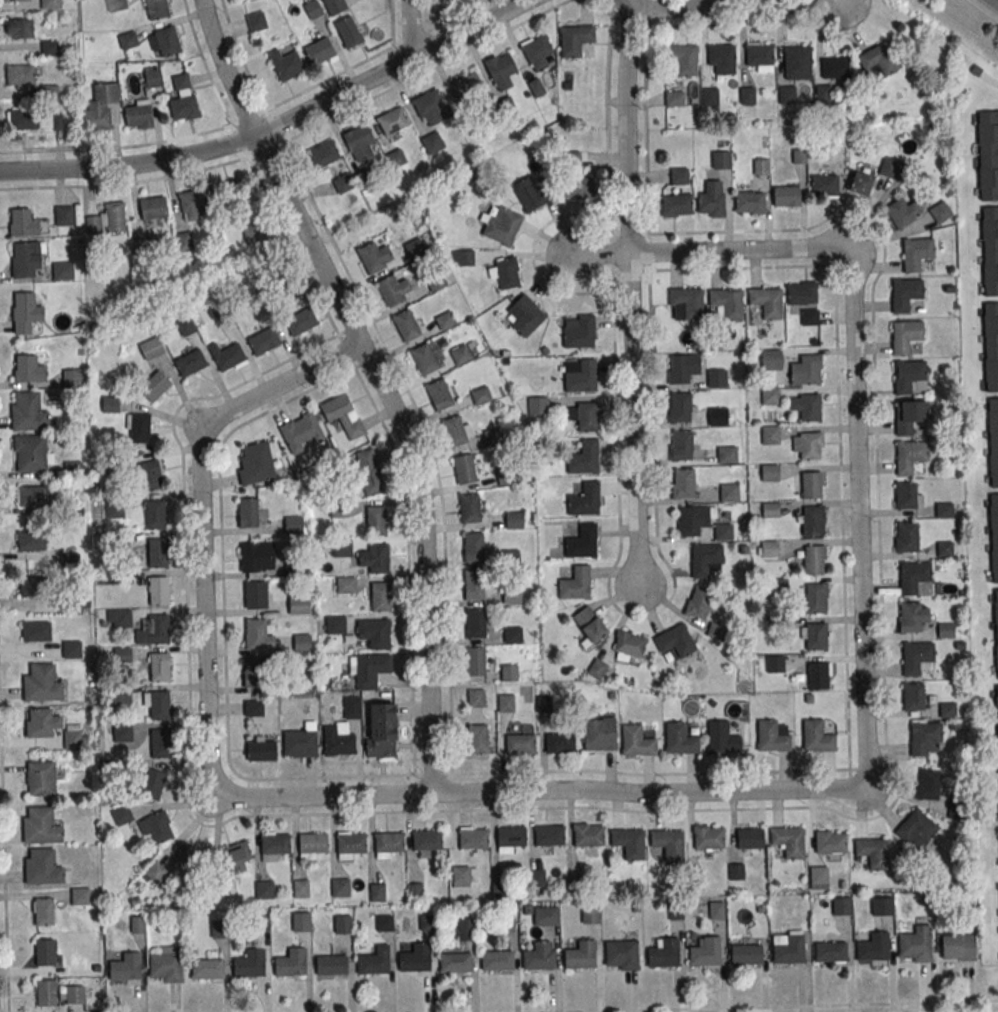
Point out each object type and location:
building: (16, 0)
road: (995, 1)
building: (50, 4)
road: (617, 4)
building: (116, 5)
building: (334, 6)
building: (157, 9)
building: (313, 9)
road: (732, 9)
building: (256, 21)
building: (18, 28)
road: (406, 29)
building: (348, 32)
building: (574, 39)
building: (128, 40)
building: (164, 42)
building: (49, 48)
building: (319, 51)
building: (536, 51)
building: (759, 57)
building: (720, 59)
building: (879, 59)
building: (681, 60)
building: (797, 61)
building: (286, 64)
building: (834, 67)
building: (500, 70)
building: (21, 75)
building: (152, 77)
building: (467, 86)
building: (50, 92)
building: (786, 94)
building: (823, 94)
building: (747, 95)
building: (709, 96)
building: (674, 98)
building: (183, 99)
building: (100, 107)
building: (430, 107)
building: (505, 107)
building: (139, 115)
building: (33, 120)
building: (392, 121)
road: (274, 127)
building: (360, 142)
building: (432, 142)
building: (323, 153)
building: (836, 155)
building: (987, 155)
building: (395, 157)
building: (721, 160)
building: (760, 165)
building: (889, 167)
building: (575, 179)
building: (343, 183)
building: (860, 183)
building: (824, 185)
building: (226, 192)
building: (531, 192)
building: (786, 196)
building: (711, 199)
building: (750, 202)
building: (194, 203)
building: (677, 205)
building: (153, 208)
building: (902, 212)
building: (940, 212)
building: (64, 216)
building: (107, 219)
building: (23, 223)
building: (501, 225)
building: (252, 232)
building: (184, 241)
building: (141, 247)
road: (738, 250)
building: (989, 250)
road: (596, 254)
building: (916, 254)
building: (373, 256)
building: (26, 258)
building: (462, 258)
building: (63, 271)
building: (505, 273)
building: (437, 284)
building: (394, 290)
road: (631, 293)
building: (802, 293)
building: (905, 293)
building: (767, 302)
building: (727, 303)
building: (685, 304)
building: (25, 312)
building: (523, 315)
building: (809, 316)
building: (444, 320)
building: (301, 322)
building: (406, 325)
building: (185, 326)
building: (578, 331)
building: (906, 335)
building: (263, 340)
building: (990, 346)
building: (151, 348)
building: (460, 354)
building: (227, 356)
building: (423, 359)
building: (771, 359)
building: (190, 362)
building: (30, 367)
building: (683, 367)
building: (806, 370)
building: (579, 375)
building: (71, 377)
building: (716, 378)
building: (911, 378)
road: (380, 379)
building: (154, 385)
building: (439, 394)
building: (480, 395)
building: (770, 396)
building: (110, 404)
building: (537, 405)
building: (806, 406)
building: (680, 407)
building: (28, 412)
building: (343, 415)
building: (586, 415)
building: (717, 416)
building: (909, 416)
building: (139, 428)
building: (302, 431)
building: (456, 431)
building: (770, 435)
building: (493, 436)
building: (993, 440)
building: (680, 445)
building: (807, 446)
building: (31, 454)
building: (726, 454)
building: (910, 456)
building: (583, 457)
building: (256, 463)
building: (72, 469)
building: (465, 469)
building: (369, 472)
building: (769, 472)
building: (150, 475)
building: (682, 483)
building: (810, 484)
building: (729, 492)
building: (906, 495)
building: (31, 496)
building: (584, 499)
building: (469, 507)
building: (114, 510)
building: (770, 510)
building: (248, 512)
building: (155, 514)
road: (860, 518)
building: (693, 519)
road: (202, 520)
building: (375, 520)
building: (810, 520)
building: (293, 524)
building: (723, 531)
building: (994, 535)
building: (906, 536)
building: (31, 541)
building: (581, 541)
building: (475, 547)
building: (342, 548)
building: (767, 548)
building: (944, 548)
building: (158, 552)
building: (375, 557)
building: (257, 558)
building: (705, 559)
building: (814, 559)
building: (915, 578)
building: (573, 581)
building: (346, 584)
building: (474, 584)
building: (35, 587)
building: (158, 590)
building: (255, 594)
building: (380, 596)
building: (512, 596)
building: (815, 597)
building: (698, 602)
building: (74, 603)
building: (299, 605)
building: (913, 616)
building: (119, 618)
building: (475, 623)
building: (335, 624)
building: (589, 626)
building: (996, 627)
building: (153, 629)
building: (715, 630)
building: (945, 630)
building: (37, 631)
building: (374, 632)
building: (258, 634)
building: (512, 634)
building: (813, 636)
building: (675, 641)
building: (302, 643)
building: (628, 646)
building: (72, 649)
building: (918, 658)
building: (475, 660)
building: (774, 663)
building: (159, 666)
building: (596, 668)
building: (369, 669)
building: (253, 673)
building: (509, 673)
building: (818, 676)
building: (42, 683)
building: (913, 696)
building: (476, 697)
building: (505, 702)
building: (542, 703)
building: (253, 707)
building: (352, 707)
building: (946, 709)
building: (997, 714)
building: (40, 722)
building: (382, 731)
building: (122, 732)
building: (600, 735)
building: (76, 737)
building: (478, 739)
building: (520, 739)
building: (722, 739)
building: (772, 739)
building: (818, 739)
building: (927, 739)
building: (338, 740)
building: (301, 741)
building: (680, 741)
building: (560, 742)
building: (636, 742)
building: (160, 743)
building: (261, 749)
building: (42, 778)
building: (152, 784)
building: (928, 784)
road: (541, 790)
building: (122, 815)
building: (41, 825)
building: (156, 826)
building: (588, 834)
building: (549, 835)
building: (920, 835)
building: (510, 836)
building: (473, 838)
building: (708, 838)
building: (749, 838)
building: (788, 841)
building: (426, 842)
building: (629, 842)
building: (669, 843)
building: (389, 844)
building: (831, 844)
building: (313, 845)
building: (350, 845)
building: (274, 846)
building: (871, 854)
building: (190, 855)
building: (235, 857)
building: (42, 867)
building: (155, 871)
building: (464, 876)
building: (818, 877)
building: (538, 878)
building: (340, 887)
building: (301, 888)
building: (264, 889)
building: (415, 891)
building: (377, 892)
building: (80, 895)
building: (841, 906)
building: (882, 908)
building: (716, 910)
building: (43, 911)
building: (590, 912)
building: (544, 915)
building: (300, 921)
building: (384, 922)
building: (425, 922)
building: (342, 924)
building: (218, 928)
building: (466, 929)
building: (915, 943)
building: (873, 947)
building: (958, 947)
building: (788, 948)
building: (830, 951)
building: (45, 952)
building: (745, 953)
building: (621, 954)
building: (580, 955)
building: (704, 955)
building: (663, 957)
building: (496, 959)
building: (538, 960)
building: (414, 961)
building: (291, 962)
building: (372, 962)
building: (455, 962)
building: (250, 963)
building: (331, 963)
building: (166, 966)
building: (126, 967)
building: (207, 969)
building: (46, 992)

